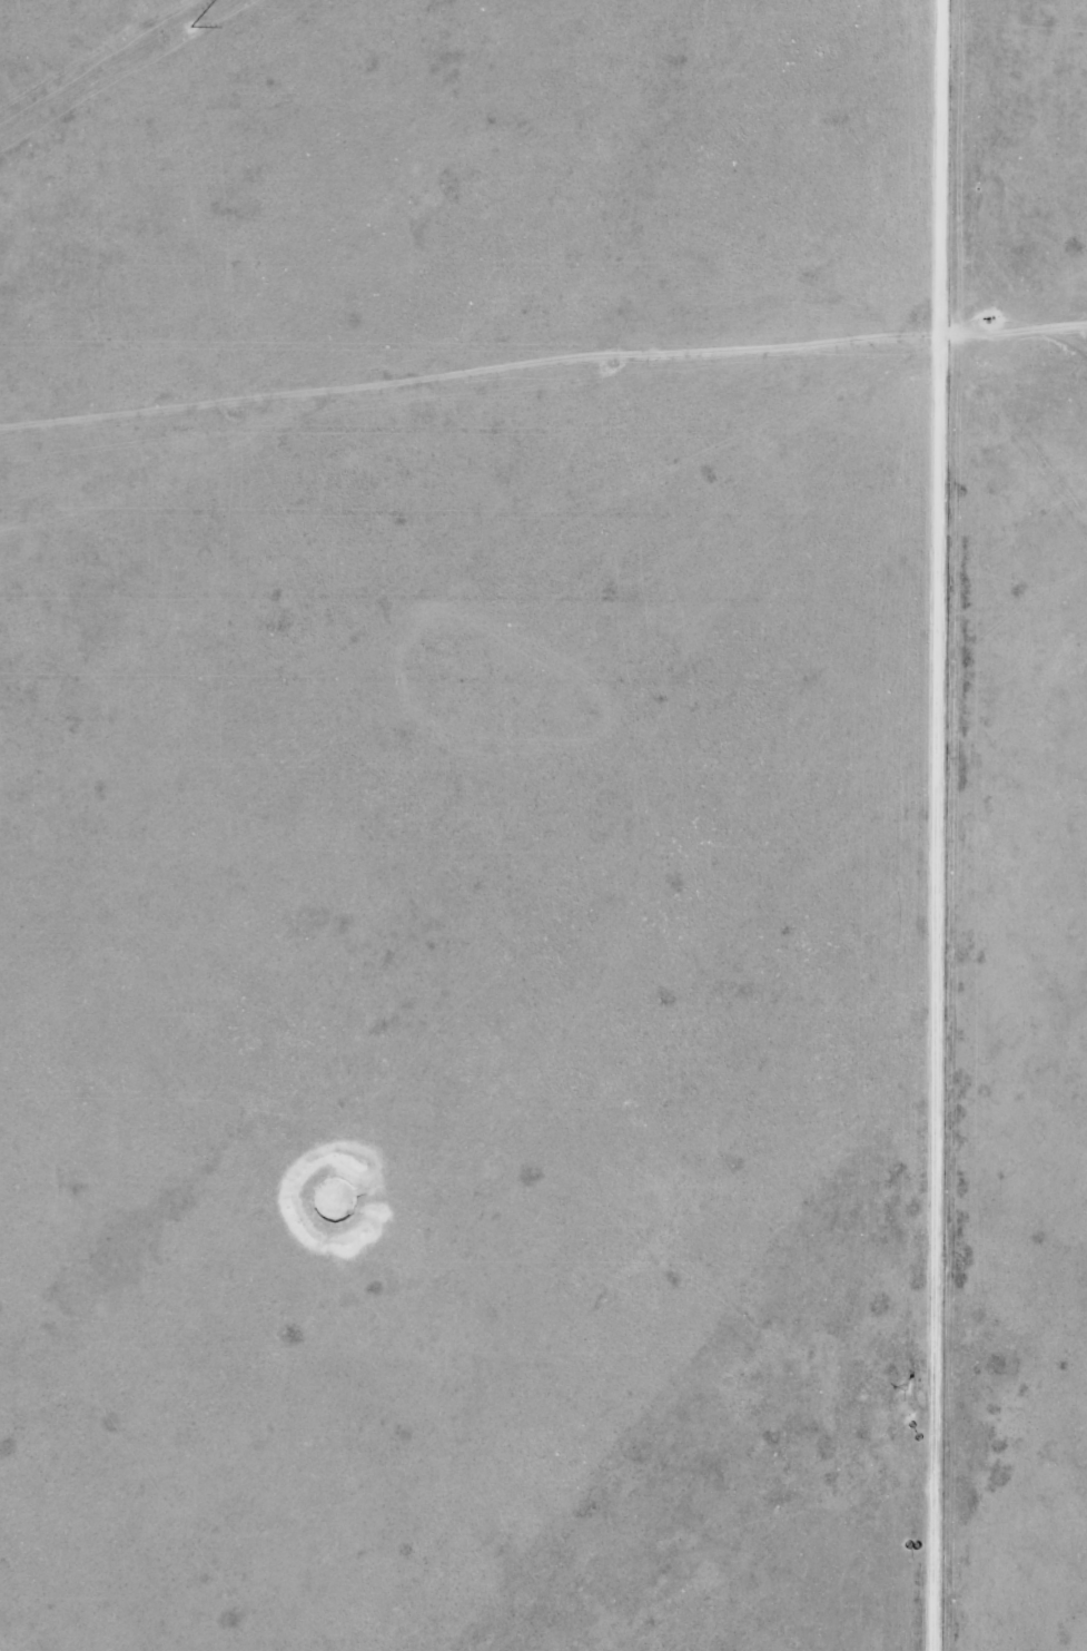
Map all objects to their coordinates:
power tower: (162, 37)

